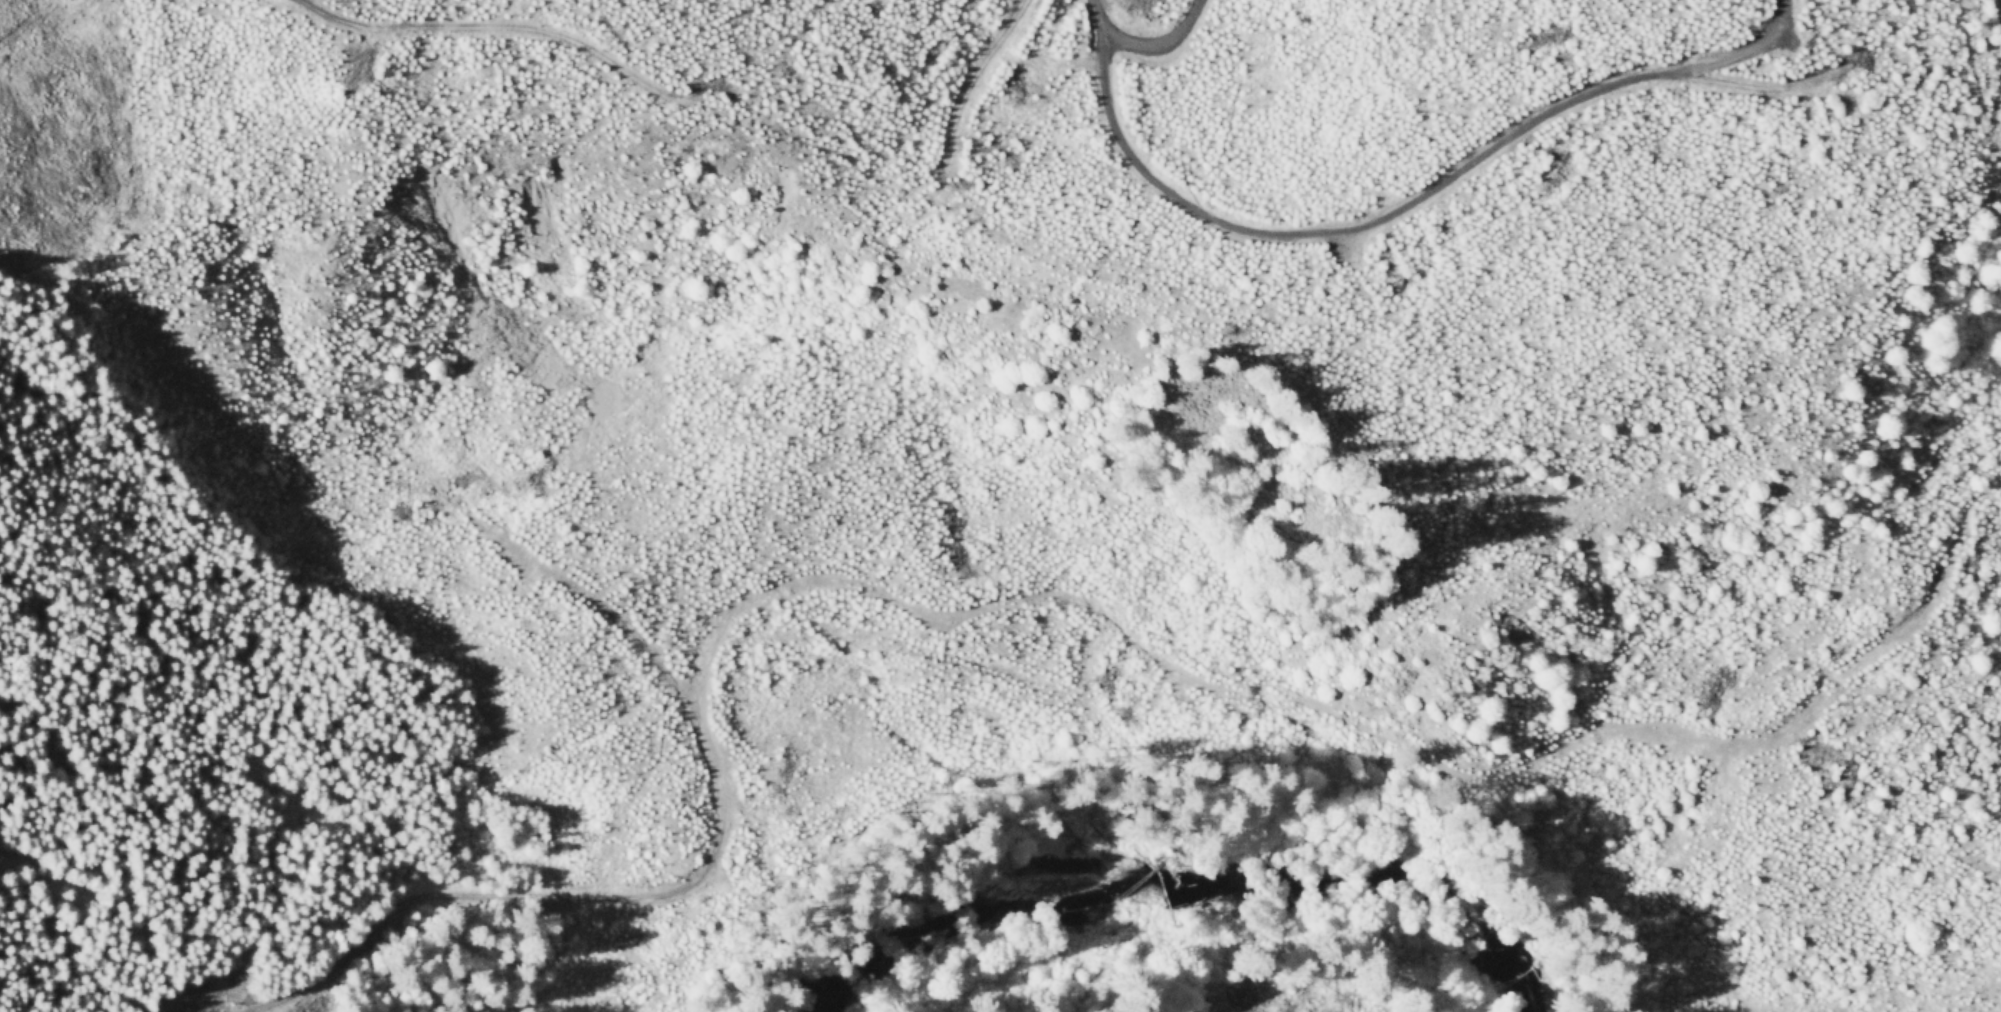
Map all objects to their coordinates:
road: (489, 26)
road: (995, 47)
road: (1412, 195)
river: (1176, 868)
road: (500, 894)

